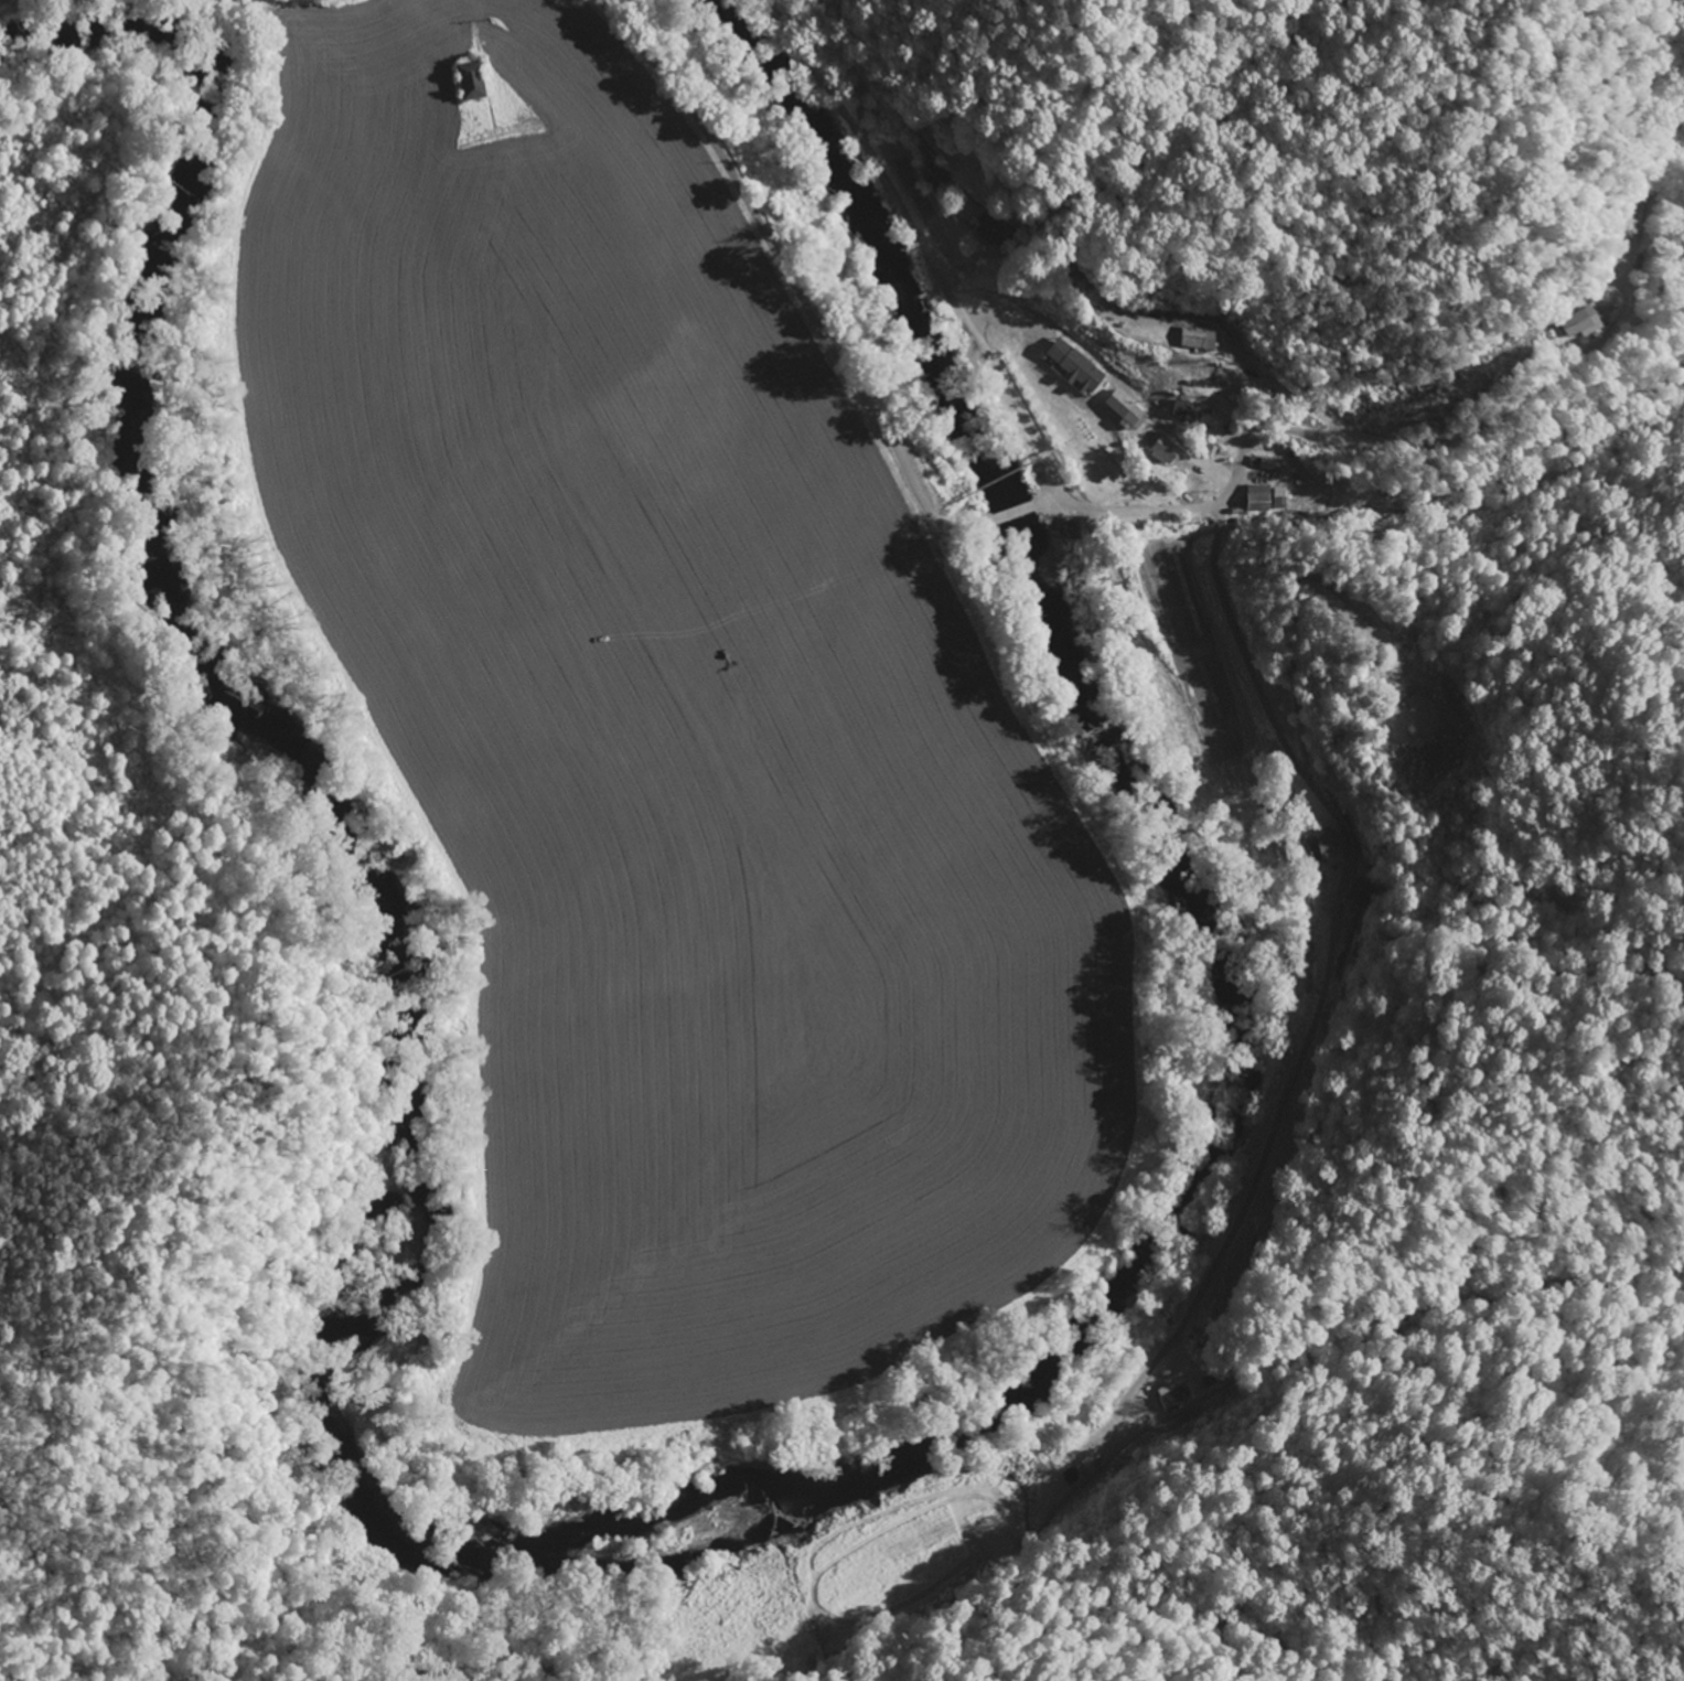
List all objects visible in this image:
building: (476, 82)
building: (993, 234)
building: (1585, 324)
building: (1204, 339)
building: (1081, 370)
building: (1195, 413)
road: (1342, 432)
building: (1169, 452)
road: (975, 522)
road: (1298, 752)
building: (1336, 848)
building: (1361, 893)
building: (1180, 1399)

